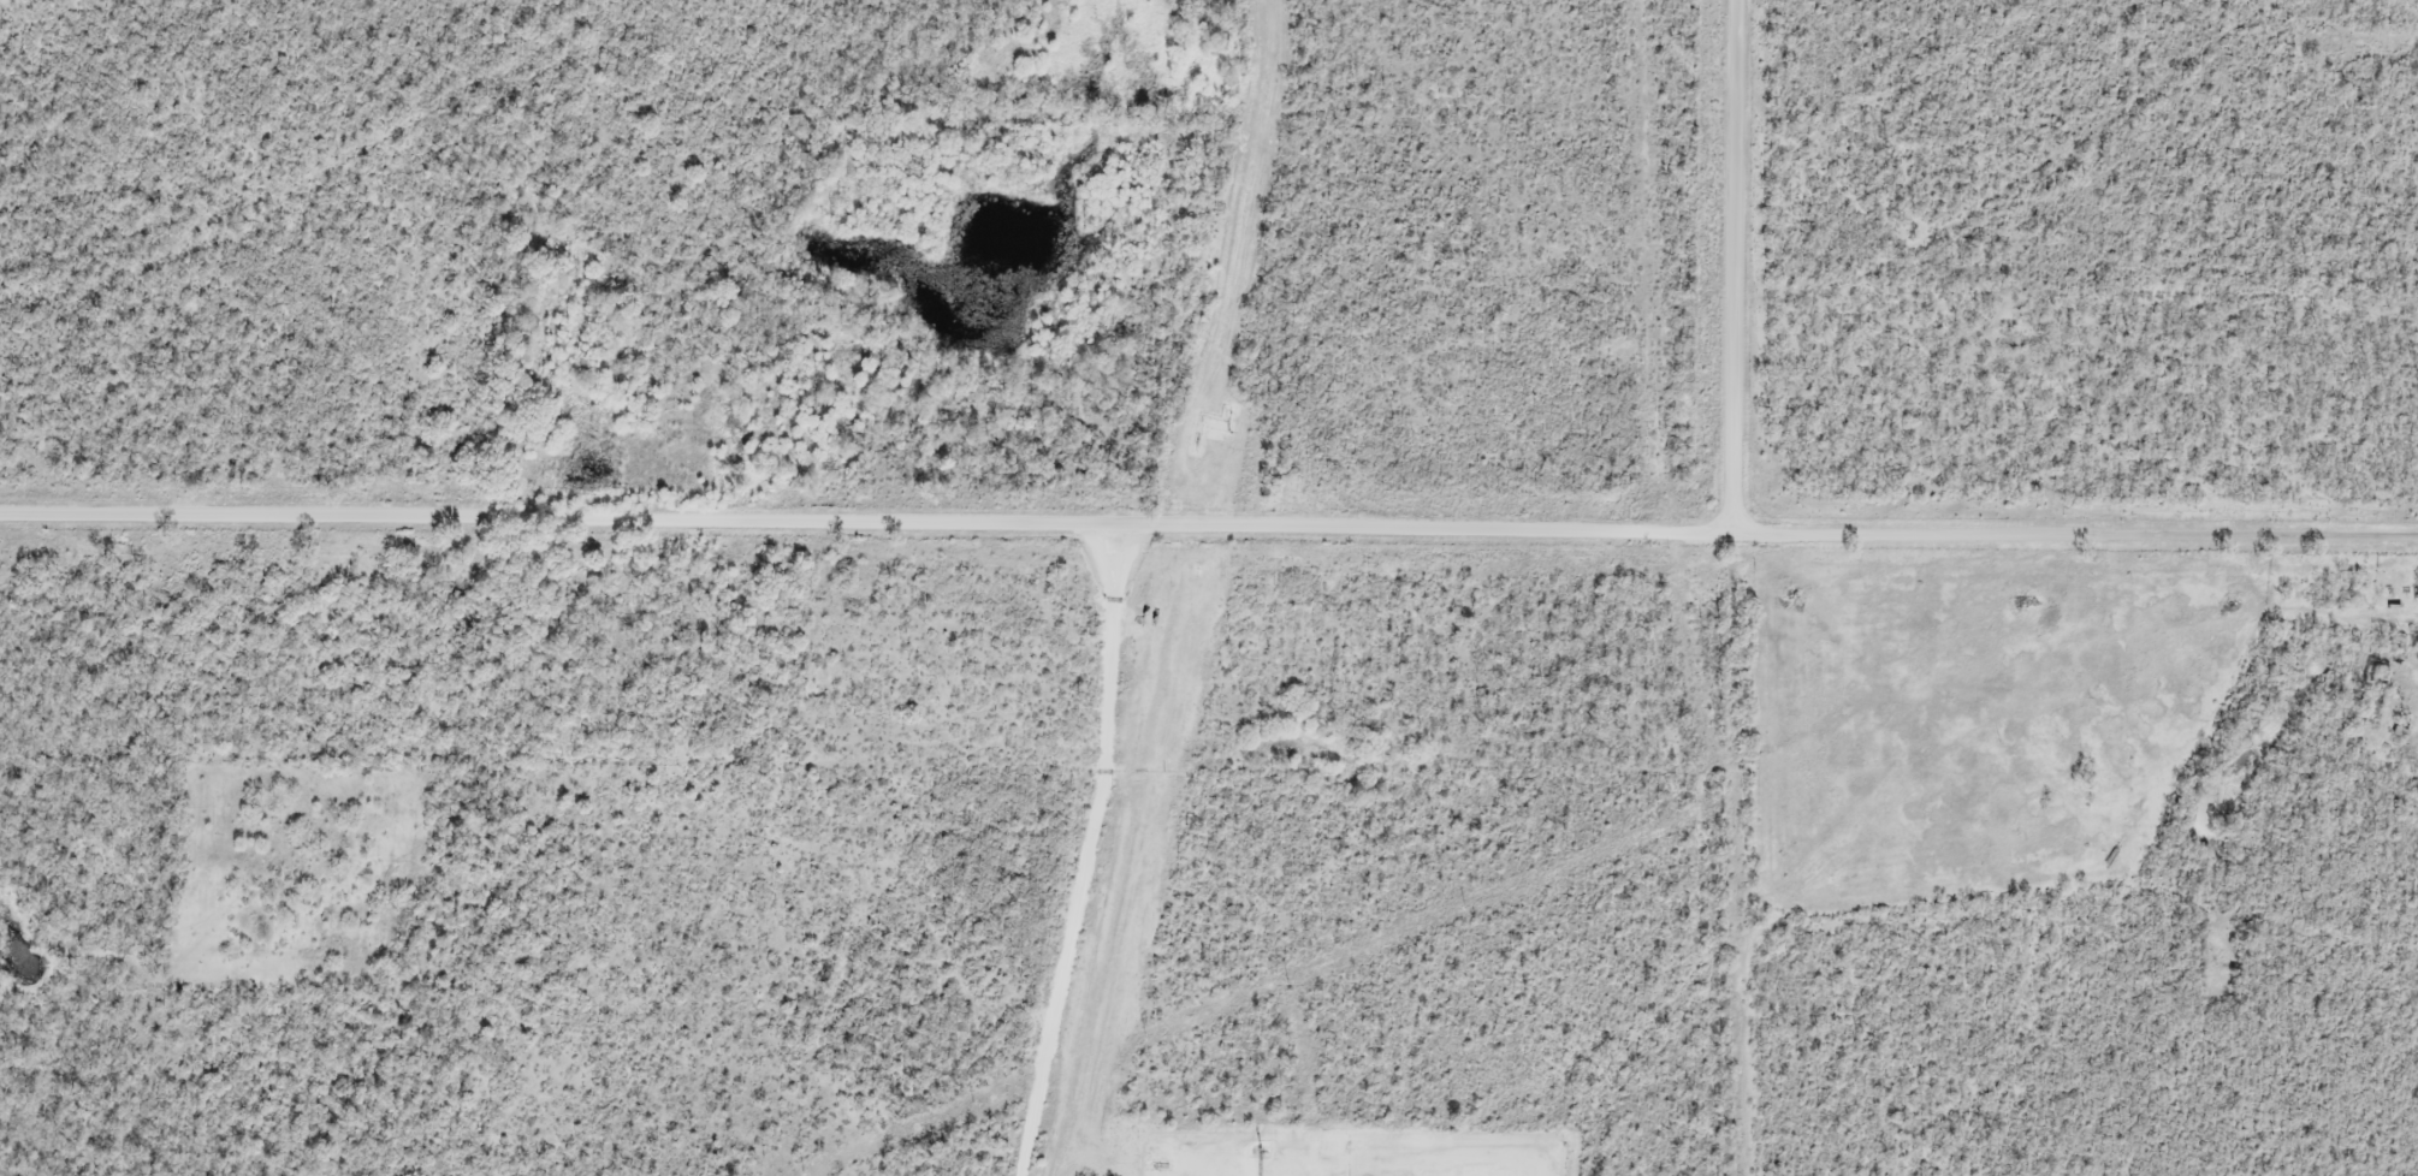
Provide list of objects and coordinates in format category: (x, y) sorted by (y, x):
road: (1731, 274)
road: (1209, 531)
road: (1086, 854)

